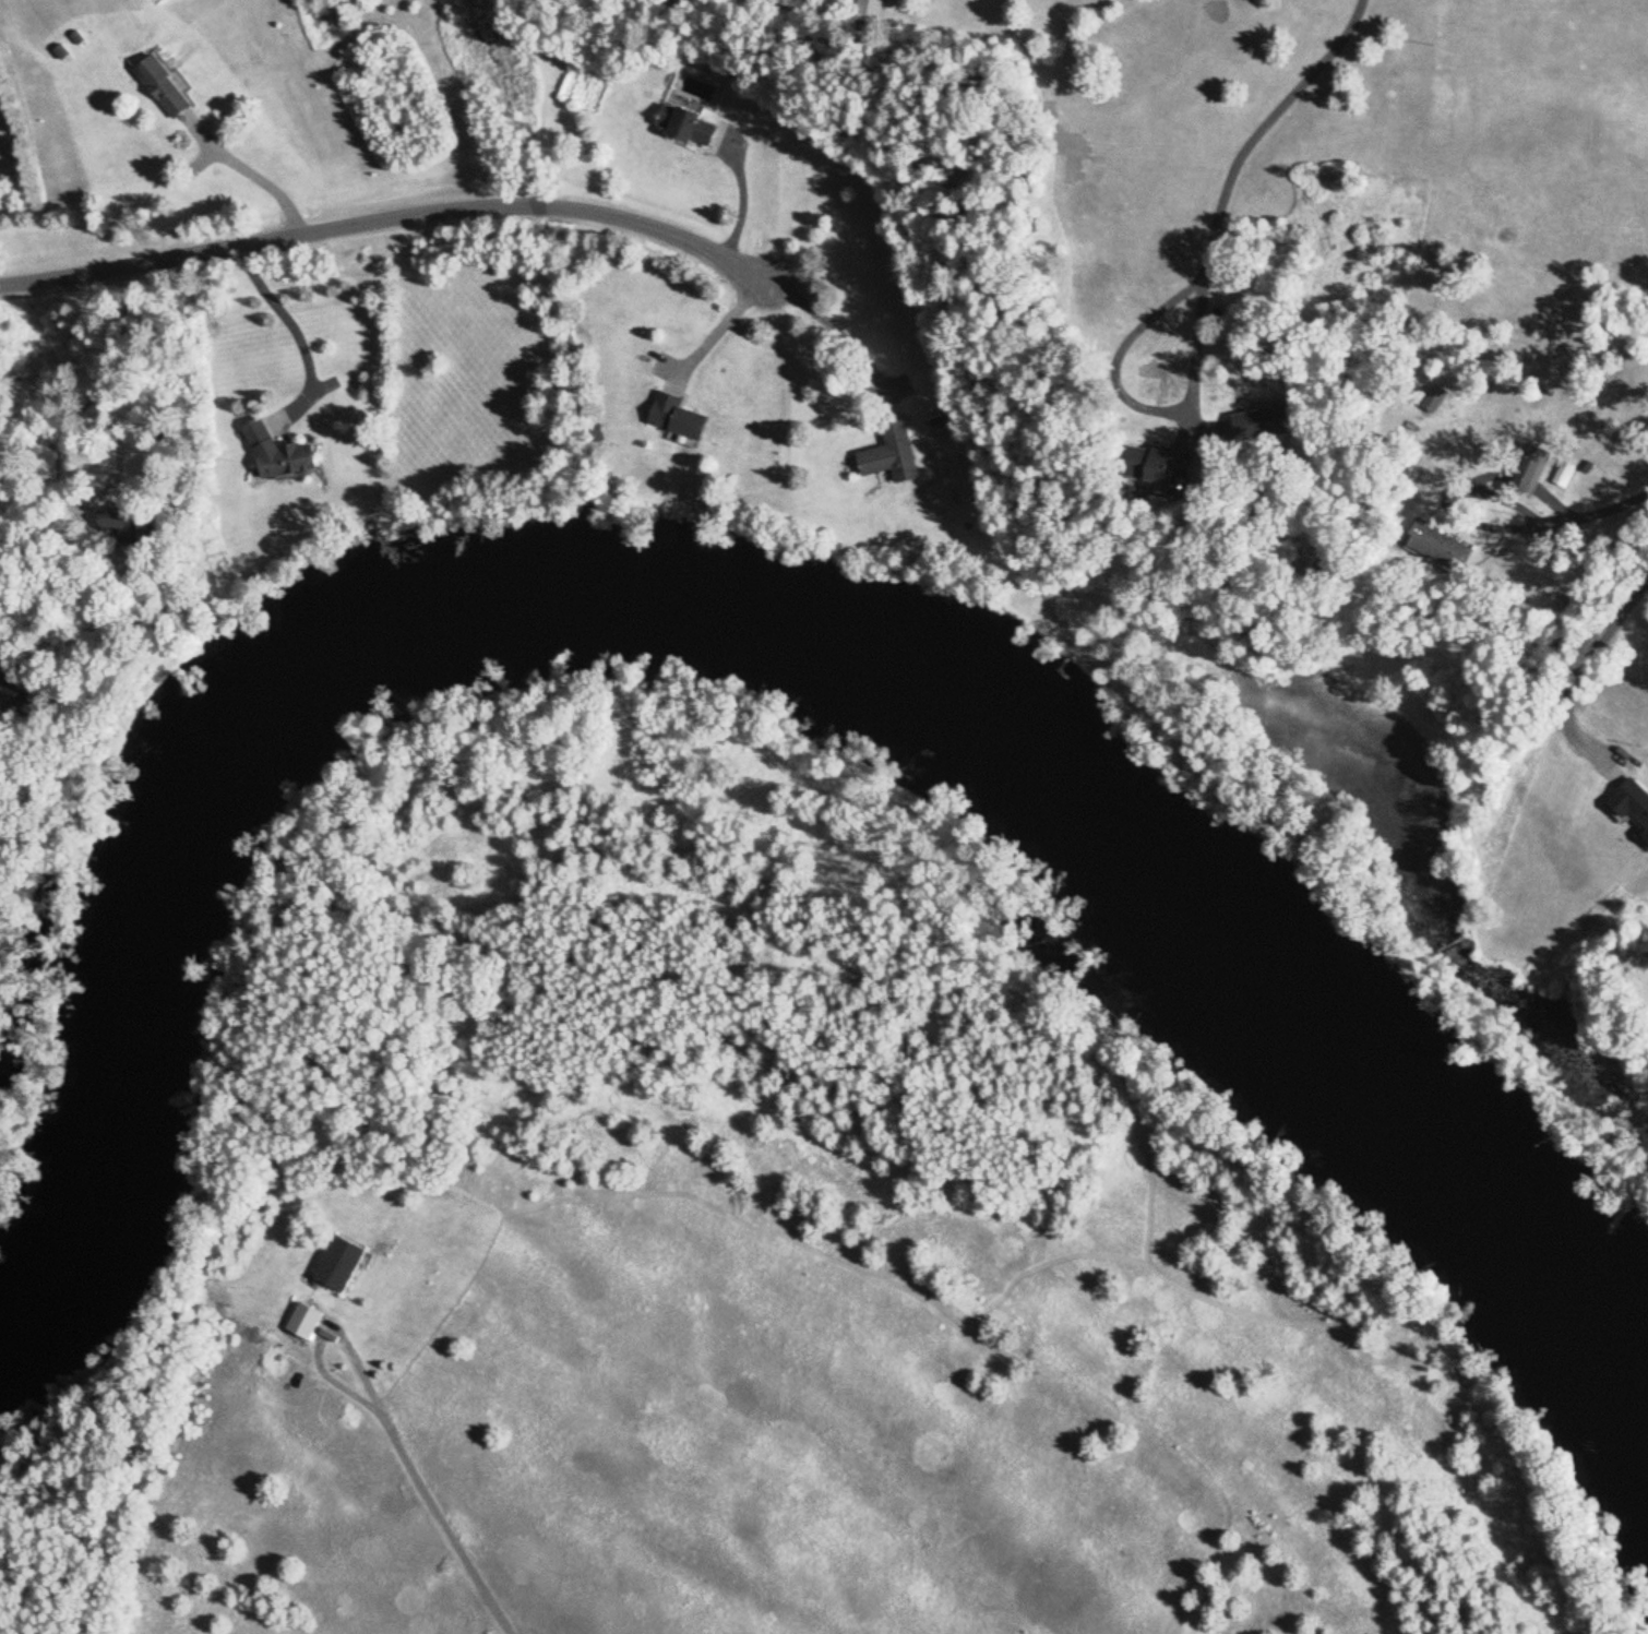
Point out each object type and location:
building: (875, 11)
building: (164, 90)
road: (1279, 96)
building: (684, 127)
road: (398, 224)
building: (679, 421)
building: (278, 454)
building: (893, 456)
building: (1165, 466)
building: (1533, 473)
building: (1565, 476)
building: (122, 518)
building: (1443, 550)
river: (747, 620)
building: (1631, 808)
building: (344, 1265)
building: (308, 1322)
road: (324, 1338)
road: (449, 1529)

